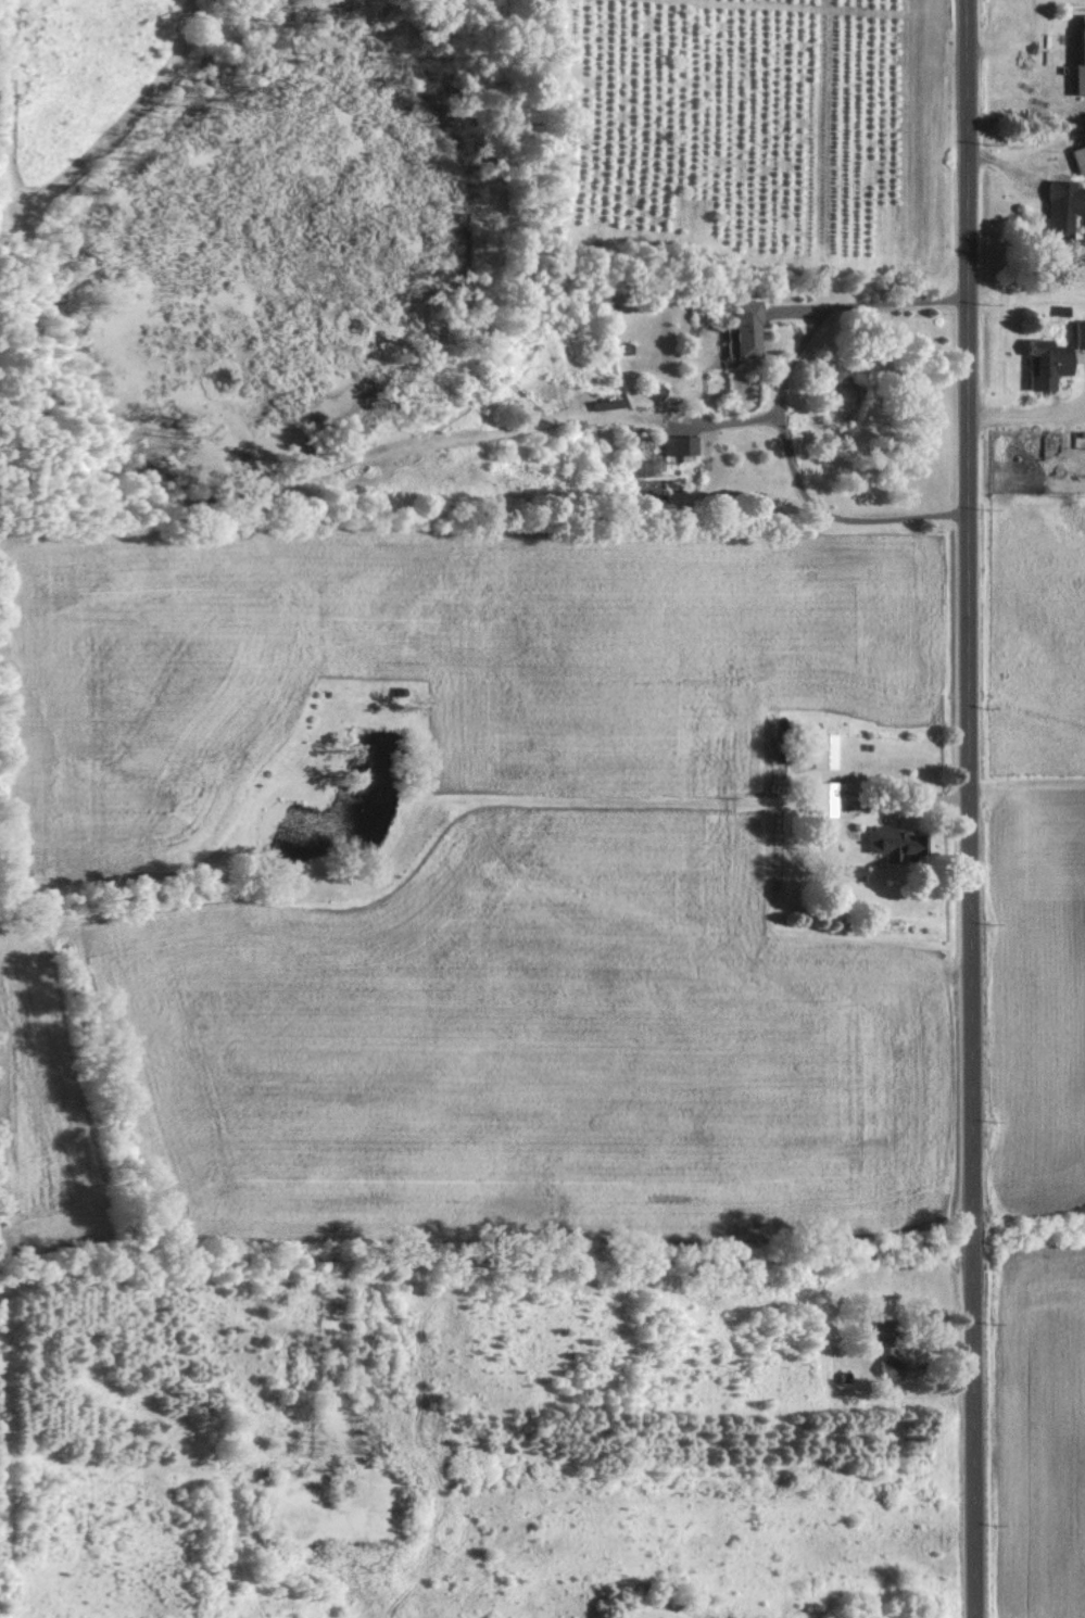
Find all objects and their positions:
building: (1074, 78)
building: (1059, 206)
building: (741, 328)
building: (1047, 357)
building: (652, 390)
road: (782, 414)
road: (1024, 418)
building: (674, 445)
building: (818, 750)
building: (817, 798)
road: (962, 808)
building: (891, 844)
building: (880, 1351)

